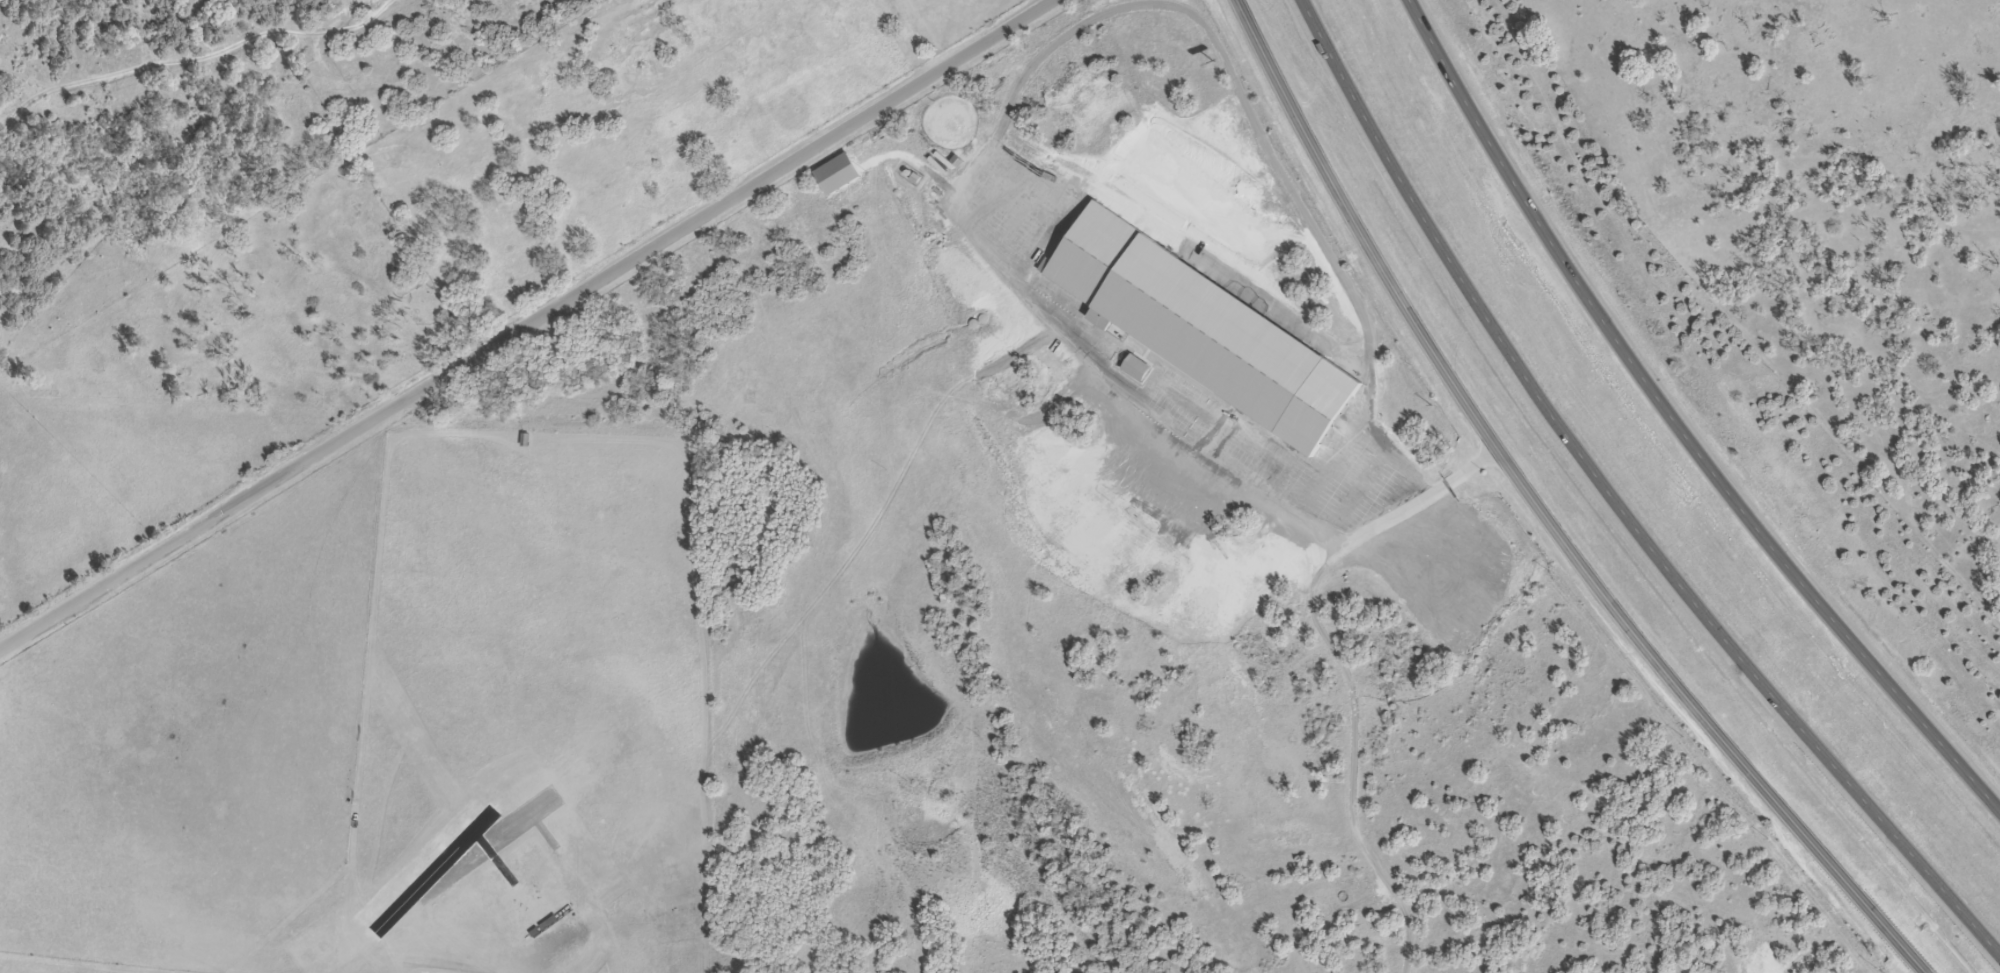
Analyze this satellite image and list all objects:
building: (889, 12)
road: (1010, 128)
road: (528, 324)
road: (1679, 426)
road: (1614, 506)
road: (1544, 514)

